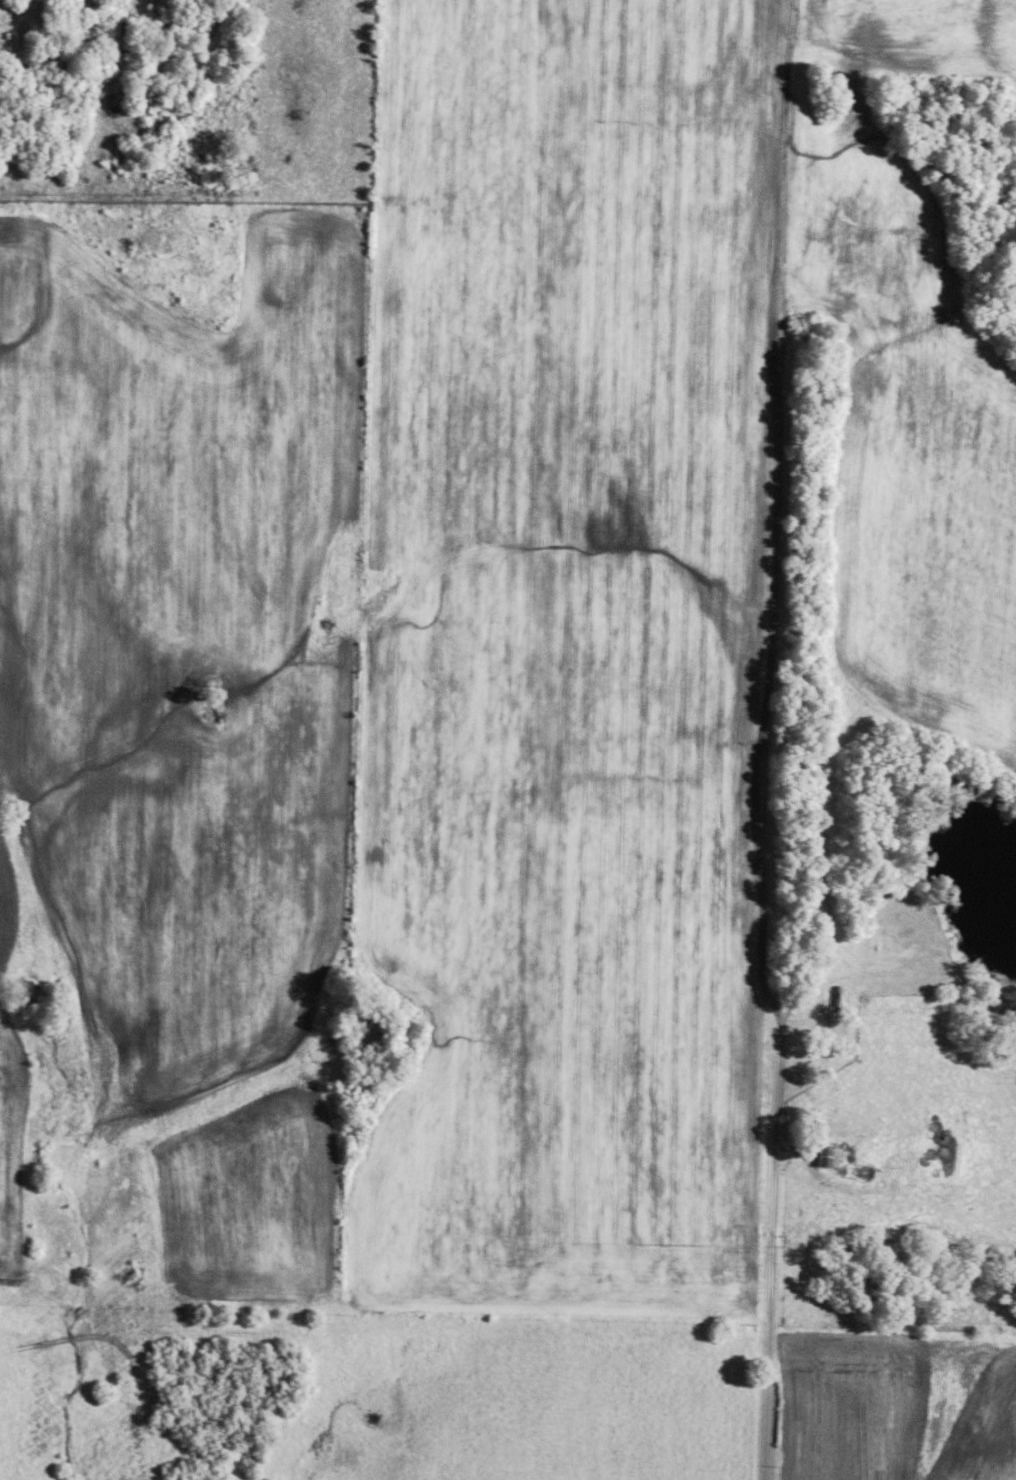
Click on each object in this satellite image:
building: (827, 1012)
building: (828, 1157)
road: (768, 1237)

